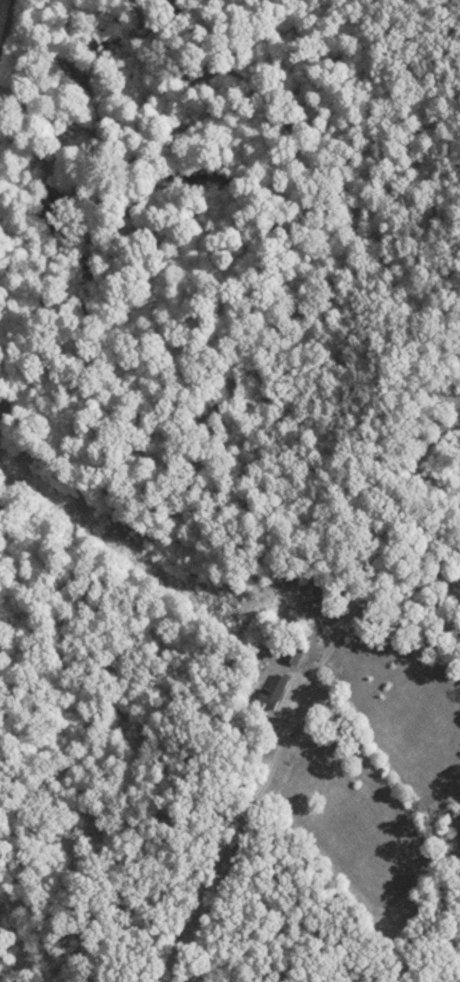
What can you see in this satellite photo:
building: (293, 654)
road: (206, 916)

